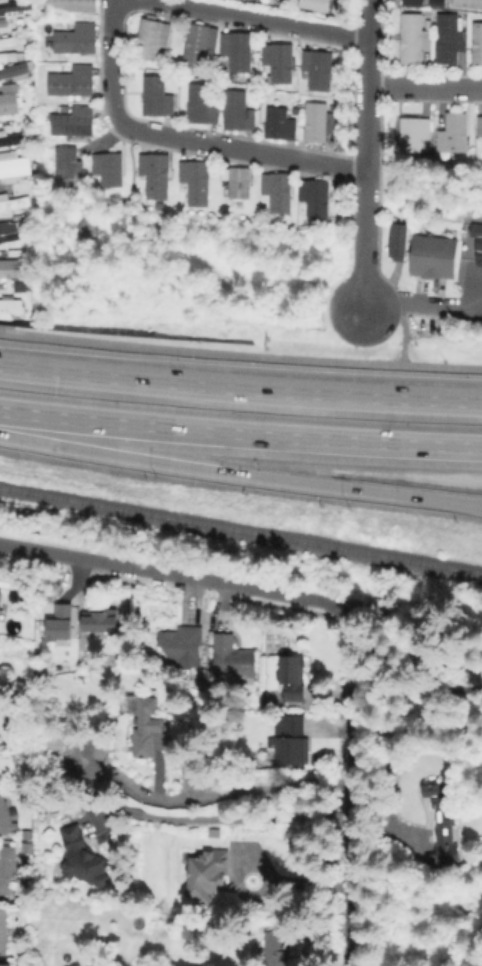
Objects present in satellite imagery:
building: (228, 0)
building: (436, 2)
building: (413, 4)
building: (468, 4)
building: (321, 6)
building: (15, 7)
building: (77, 7)
road: (262, 19)
building: (154, 40)
building: (415, 40)
building: (451, 41)
building: (13, 42)
building: (79, 42)
building: (201, 44)
building: (478, 45)
building: (240, 51)
building: (281, 63)
building: (14, 71)
building: (320, 72)
road: (366, 77)
building: (74, 84)
road: (424, 87)
building: (7, 98)
building: (158, 98)
building: (205, 108)
building: (297, 111)
building: (241, 113)
building: (321, 124)
building: (75, 125)
building: (282, 126)
building: (480, 128)
road: (181, 135)
building: (454, 136)
building: (10, 138)
building: (414, 138)
building: (14, 166)
building: (71, 168)
building: (111, 169)
building: (158, 176)
building: (197, 182)
building: (239, 182)
building: (278, 193)
building: (315, 200)
building: (12, 202)
building: (263, 209)
building: (9, 230)
road: (363, 230)
building: (396, 241)
building: (479, 250)
building: (431, 256)
building: (11, 267)
building: (481, 293)
building: (9, 306)
road: (422, 307)
road: (402, 321)
road: (240, 355)
road: (240, 389)
road: (240, 434)
road: (240, 472)
railway: (240, 531)
road: (177, 577)
building: (1, 598)
building: (100, 619)
building: (60, 621)
building: (182, 649)
building: (232, 660)
building: (291, 672)
building: (293, 698)
building: (150, 725)
building: (291, 742)
road: (351, 788)
road: (210, 795)
building: (5, 818)
road: (222, 820)
building: (444, 823)
building: (79, 858)
building: (8, 866)
building: (203, 873)
building: (3, 932)
building: (277, 949)
building: (6, 964)

